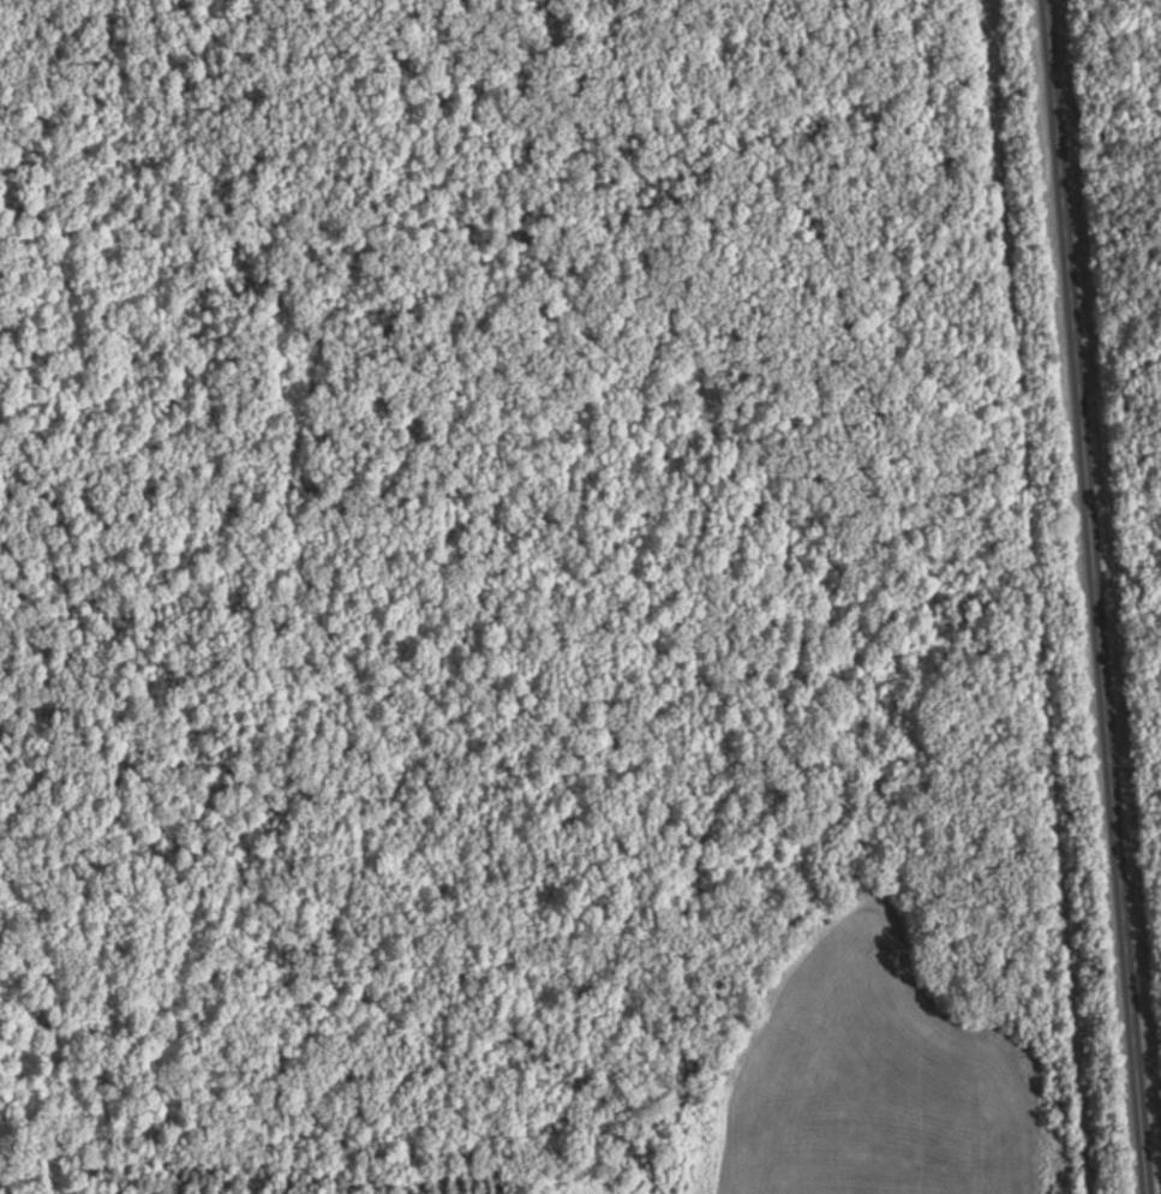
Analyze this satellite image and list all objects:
road: (1095, 597)

